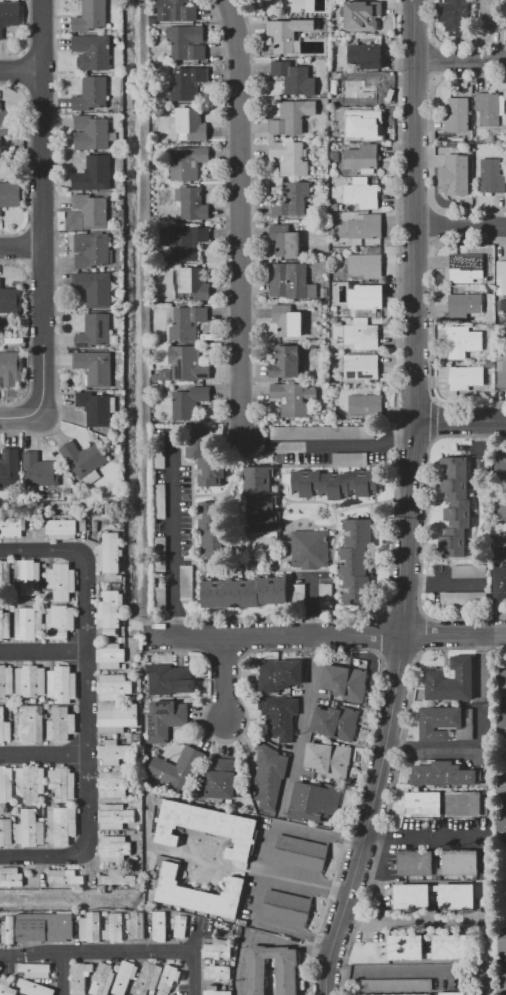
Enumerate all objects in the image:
building: (307, 5)
building: (317, 6)
building: (176, 10)
building: (10, 14)
building: (362, 15)
building: (92, 16)
building: (458, 16)
building: (492, 16)
building: (153, 19)
building: (288, 34)
building: (118, 40)
road: (433, 41)
building: (186, 42)
road: (449, 43)
building: (93, 52)
building: (365, 55)
road: (461, 59)
road: (432, 60)
road: (21, 71)
building: (295, 77)
road: (434, 79)
building: (188, 83)
building: (361, 88)
building: (91, 94)
building: (336, 99)
building: (490, 108)
building: (458, 114)
building: (290, 117)
building: (9, 122)
building: (192, 123)
building: (362, 125)
building: (92, 133)
building: (336, 135)
building: (502, 136)
road: (432, 142)
building: (335, 156)
building: (363, 156)
building: (290, 157)
building: (186, 162)
building: (458, 170)
building: (94, 173)
building: (492, 175)
building: (361, 193)
building: (11, 194)
building: (292, 199)
building: (193, 204)
road: (43, 207)
building: (333, 207)
building: (92, 210)
road: (240, 216)
building: (365, 225)
road: (432, 226)
road: (461, 226)
building: (285, 240)
building: (189, 242)
road: (22, 246)
building: (91, 250)
building: (367, 263)
building: (467, 266)
building: (502, 274)
building: (290, 281)
building: (191, 284)
building: (94, 287)
building: (366, 299)
building: (10, 300)
building: (464, 304)
building: (334, 308)
building: (343, 309)
building: (287, 320)
road: (432, 321)
building: (187, 322)
building: (94, 330)
building: (362, 334)
building: (463, 340)
building: (312, 346)
building: (287, 362)
building: (187, 363)
building: (489, 364)
building: (362, 366)
building: (95, 367)
building: (10, 369)
building: (501, 370)
building: (165, 374)
building: (465, 377)
building: (155, 378)
building: (334, 383)
building: (293, 398)
building: (189, 402)
building: (367, 405)
building: (97, 407)
road: (22, 416)
road: (435, 419)
road: (461, 420)
building: (323, 432)
road: (352, 445)
building: (119, 447)
building: (159, 450)
building: (200, 453)
building: (350, 458)
building: (84, 460)
building: (502, 466)
building: (10, 468)
building: (40, 471)
building: (334, 483)
building: (68, 492)
building: (159, 501)
building: (261, 502)
road: (411, 502)
building: (455, 506)
building: (502, 507)
building: (82, 524)
building: (12, 526)
building: (210, 527)
building: (62, 528)
road: (422, 531)
building: (500, 540)
road: (175, 542)
building: (310, 549)
building: (109, 553)
building: (159, 553)
building: (355, 563)
building: (470, 571)
building: (1, 573)
building: (28, 576)
building: (114, 577)
building: (61, 581)
building: (187, 582)
building: (500, 584)
building: (242, 591)
building: (298, 592)
building: (325, 595)
building: (159, 596)
building: (49, 597)
building: (464, 598)
building: (9, 607)
building: (110, 611)
building: (60, 620)
building: (5, 622)
building: (29, 623)
road: (423, 631)
road: (330, 636)
building: (122, 640)
road: (43, 650)
building: (110, 655)
building: (124, 666)
building: (279, 674)
road: (224, 678)
building: (170, 679)
building: (6, 680)
building: (502, 680)
building: (30, 681)
building: (451, 681)
building: (345, 682)
building: (62, 684)
building: (114, 687)
building: (138, 697)
building: (20, 700)
building: (9, 701)
building: (33, 701)
building: (51, 701)
road: (504, 702)
building: (9, 704)
road: (87, 704)
building: (47, 715)
building: (117, 716)
building: (279, 716)
building: (165, 718)
building: (439, 721)
building: (336, 723)
building: (30, 724)
building: (61, 724)
building: (502, 725)
building: (466, 726)
building: (5, 728)
building: (139, 730)
building: (130, 737)
building: (137, 737)
building: (114, 752)
road: (43, 753)
building: (479, 755)
building: (328, 759)
building: (178, 768)
building: (443, 772)
building: (269, 776)
building: (221, 779)
building: (30, 782)
road: (394, 782)
building: (62, 783)
building: (6, 784)
building: (113, 784)
building: (502, 785)
building: (51, 795)
building: (315, 799)
building: (464, 803)
building: (20, 804)
building: (424, 804)
road: (504, 807)
building: (115, 816)
building: (61, 825)
building: (204, 826)
building: (138, 827)
building: (30, 828)
building: (502, 828)
building: (5, 832)
road: (318, 834)
road: (423, 835)
building: (114, 848)
building: (300, 852)
building: (135, 859)
building: (460, 862)
building: (415, 863)
building: (10, 876)
building: (65, 877)
road: (263, 877)
building: (117, 878)
road: (305, 883)
building: (43, 885)
building: (201, 894)
building: (412, 896)
building: (457, 896)
building: (153, 907)
building: (286, 907)
building: (105, 913)
building: (84, 914)
building: (127, 916)
building: (172, 920)
road: (407, 923)
building: (136, 925)
building: (159, 925)
building: (180, 925)
building: (45, 926)
building: (91, 927)
building: (114, 927)
building: (8, 930)
road: (298, 935)
road: (258, 936)
building: (503, 940)
building: (405, 943)
building: (217, 949)
road: (97, 951)
road: (504, 961)
building: (35, 970)
road: (418, 970)
road: (195, 972)
building: (217, 972)
road: (65, 973)
building: (287, 975)
building: (80, 977)
building: (124, 977)
building: (169, 977)
building: (148, 978)
building: (102, 979)
building: (504, 980)
building: (13, 983)
building: (396, 985)
building: (6, 987)
building: (34, 988)
building: (215, 991)
building: (452, 993)
building: (23, 994)
building: (150, 994)
building: (171, 994)
building: (395, 994)

